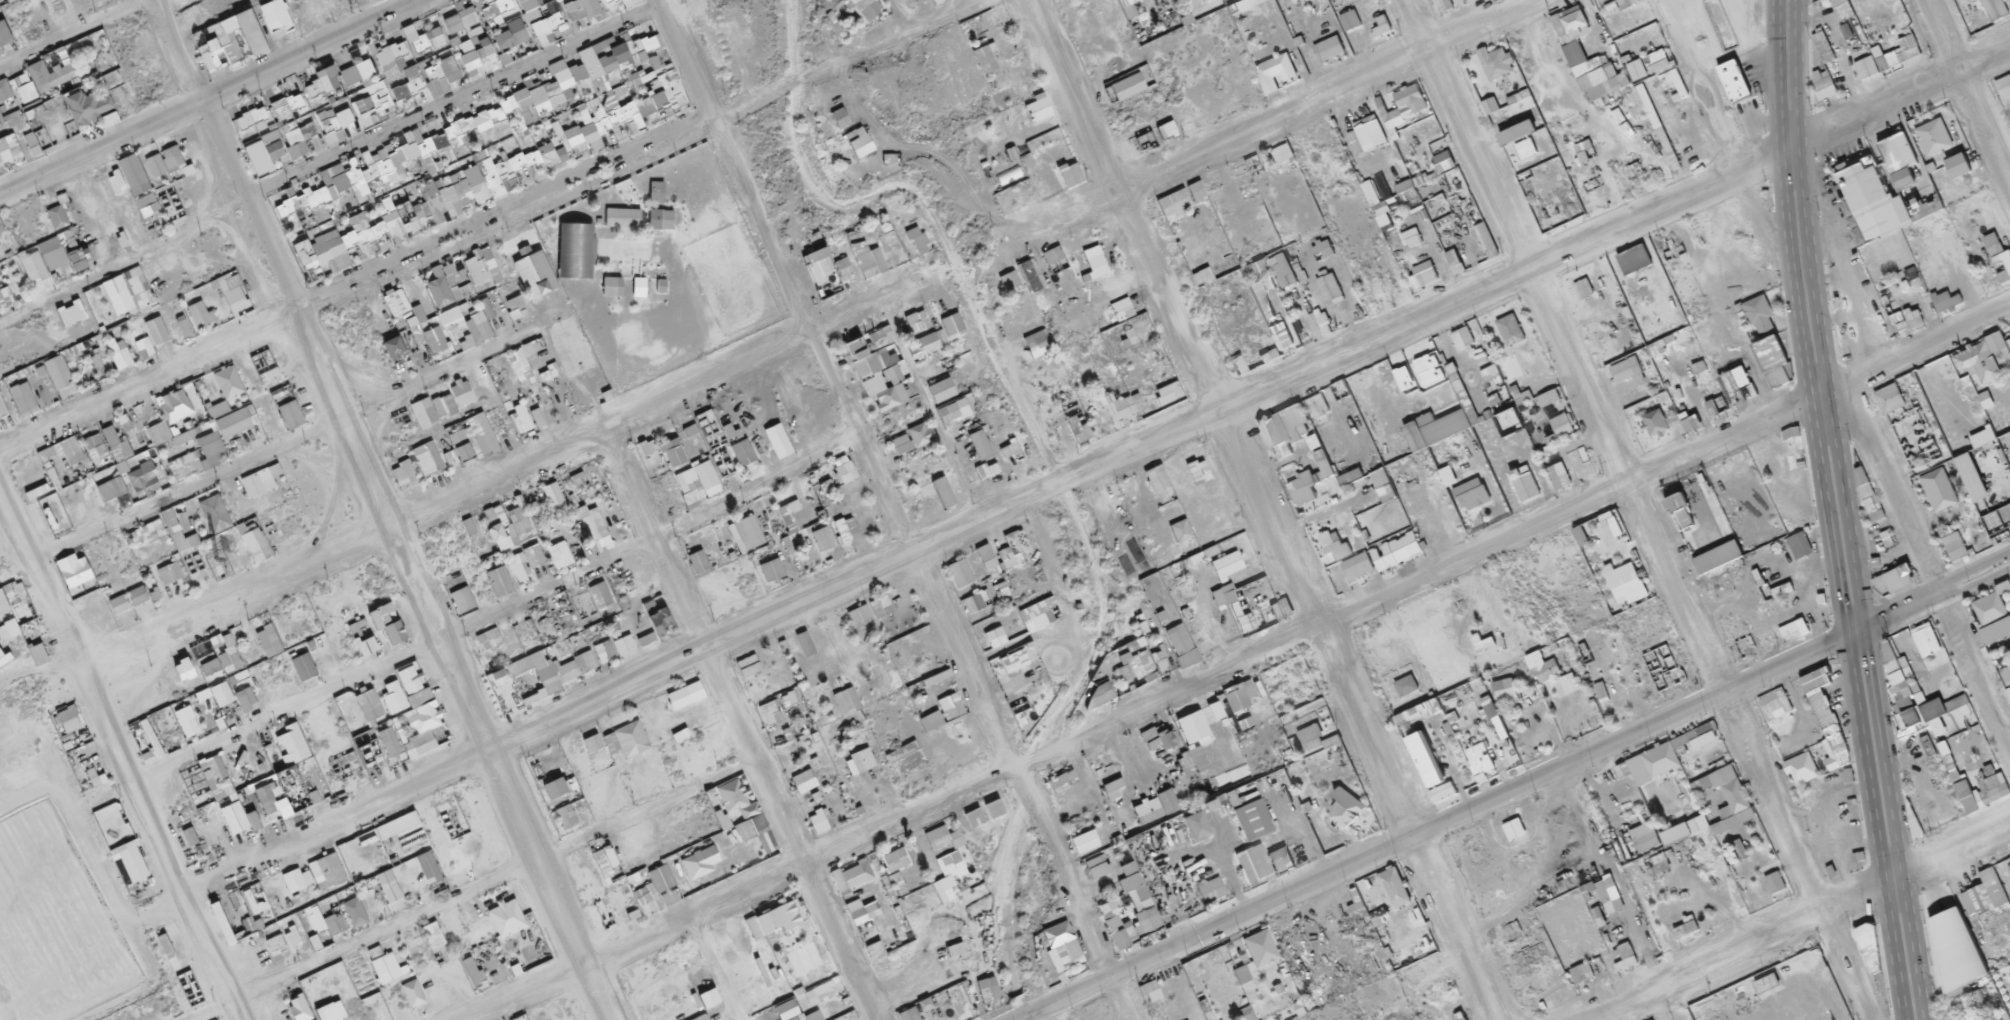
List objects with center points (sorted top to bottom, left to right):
road: (1796, 920)
power substation: (1780, 992)

